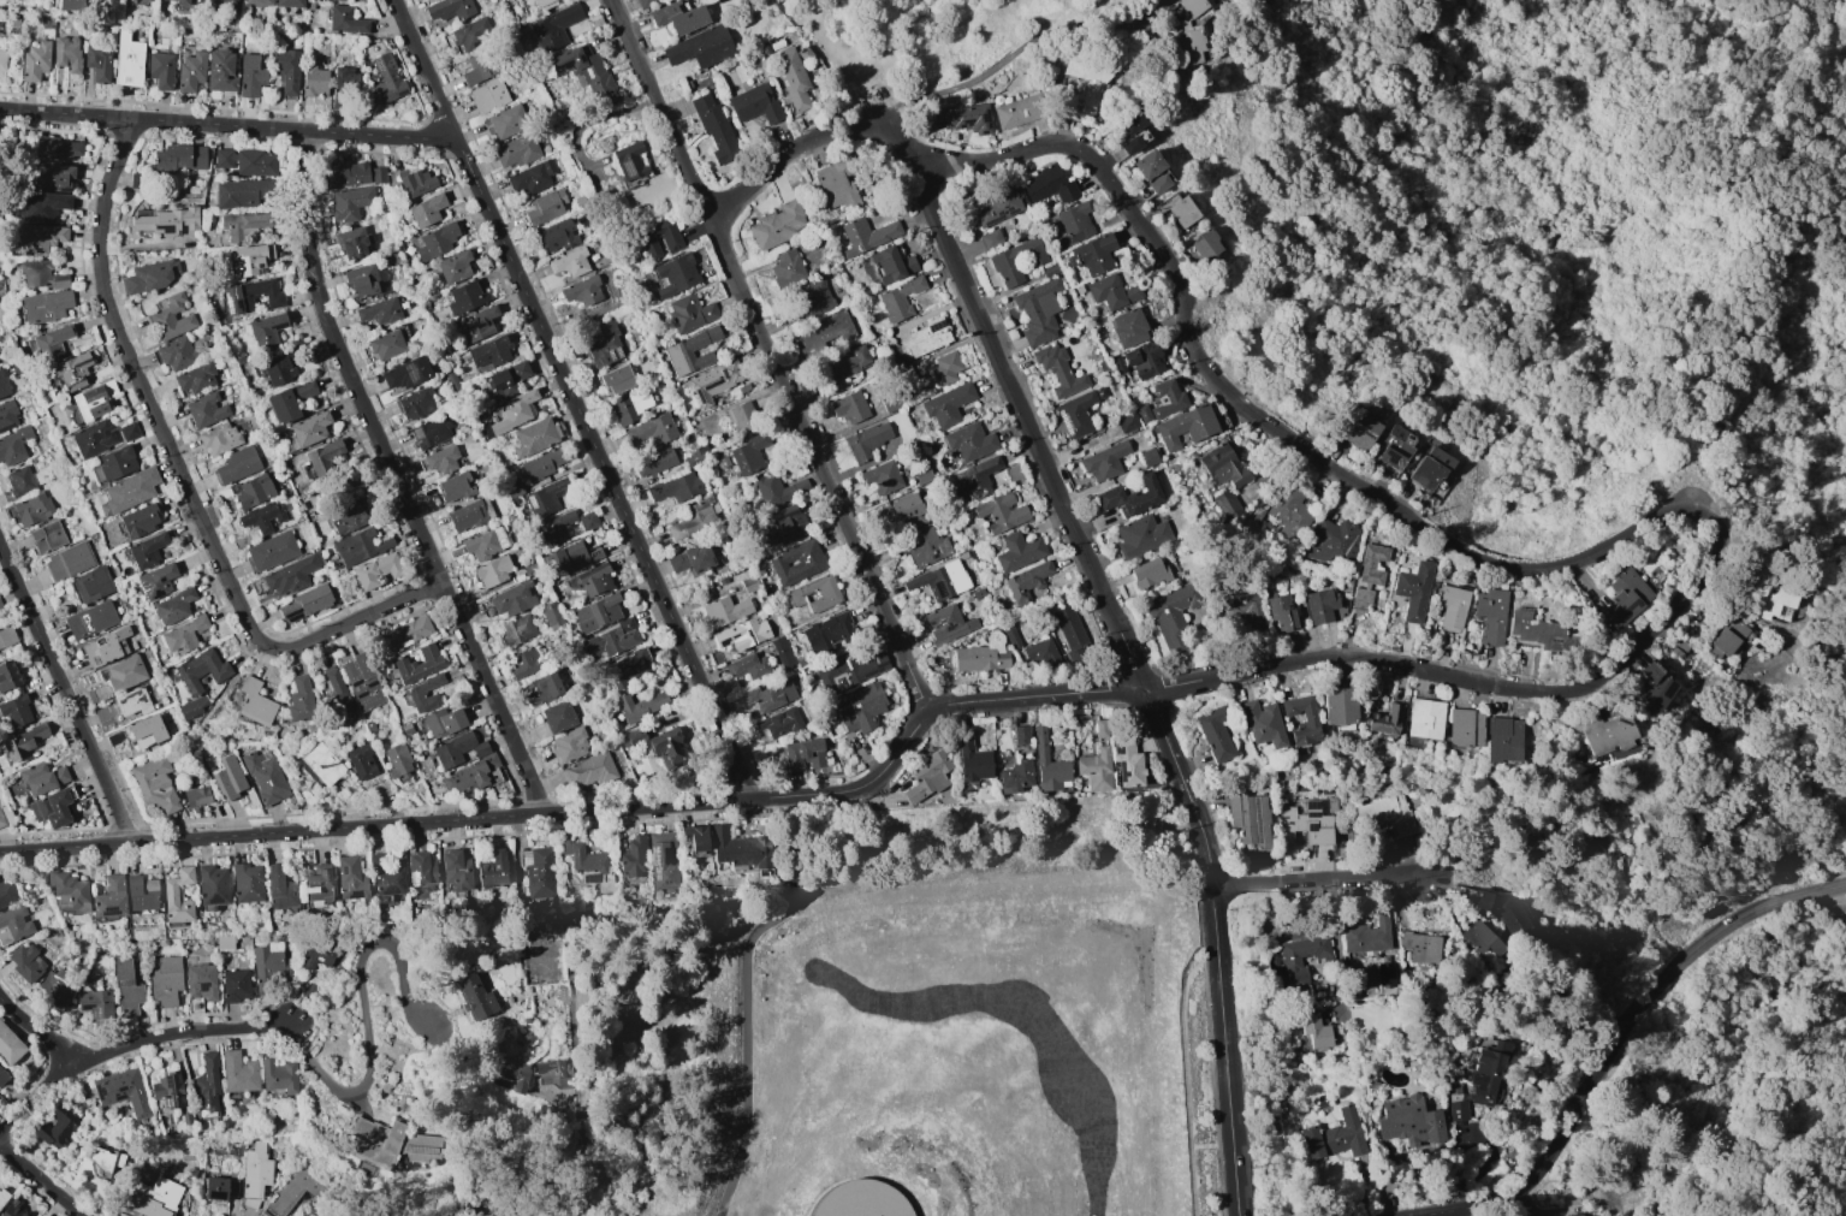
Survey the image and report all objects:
building: (180, 2)
building: (275, 2)
building: (530, 2)
building: (220, 4)
building: (71, 5)
building: (1181, 8)
building: (449, 10)
building: (681, 17)
building: (345, 20)
building: (552, 28)
building: (471, 34)
building: (1191, 46)
building: (701, 47)
building: (67, 54)
building: (2, 58)
building: (34, 60)
building: (127, 60)
road: (1003, 60)
building: (97, 61)
road: (838, 63)
road: (1756, 65)
road: (425, 69)
building: (476, 69)
building: (160, 70)
building: (190, 71)
building: (220, 71)
building: (584, 71)
building: (286, 73)
building: (250, 76)
building: (386, 78)
building: (791, 78)
building: (314, 81)
building: (1082, 88)
building: (487, 95)
building: (754, 103)
building: (1017, 111)
building: (966, 118)
building: (505, 121)
road: (222, 125)
building: (714, 127)
building: (1132, 132)
building: (59, 148)
building: (516, 150)
road: (788, 153)
building: (178, 158)
building: (244, 161)
building: (629, 164)
building: (1152, 171)
building: (354, 174)
building: (53, 177)
building: (530, 178)
building: (416, 182)
building: (836, 183)
building: (1047, 185)
building: (241, 192)
building: (349, 203)
building: (43, 206)
building: (545, 207)
building: (997, 207)
building: (426, 210)
building: (1182, 212)
building: (165, 221)
building: (1074, 223)
building: (243, 225)
building: (777, 225)
building: (866, 235)
building: (557, 236)
building: (40, 238)
building: (990, 238)
building: (660, 239)
building: (435, 241)
building: (351, 243)
building: (1204, 245)
building: (1092, 254)
building: (251, 257)
building: (1017, 261)
building: (570, 262)
building: (888, 265)
building: (453, 266)
building: (787, 268)
building: (41, 274)
building: (675, 275)
building: (150, 277)
building: (366, 280)
building: (582, 291)
building: (1111, 292)
building: (250, 296)
building: (464, 297)
building: (812, 298)
building: (898, 298)
building: (44, 306)
building: (378, 312)
building: (1037, 312)
building: (688, 313)
building: (170, 318)
building: (477, 324)
building: (1128, 327)
building: (266, 328)
building: (823, 334)
building: (922, 339)
building: (51, 342)
building: (385, 345)
building: (604, 345)
building: (690, 351)
building: (177, 354)
building: (488, 354)
road: (774, 356)
building: (843, 367)
building: (944, 367)
building: (274, 369)
building: (1058, 370)
building: (72, 372)
building: (404, 374)
building: (195, 379)
building: (506, 379)
building: (616, 379)
building: (713, 381)
building: (2, 385)
building: (108, 387)
building: (289, 401)
building: (1162, 401)
building: (90, 402)
building: (415, 403)
building: (946, 405)
road: (1020, 405)
building: (629, 407)
building: (849, 407)
building: (206, 409)
building: (514, 411)
building: (1075, 414)
building: (741, 415)
building: (7, 416)
road: (1264, 419)
building: (1185, 427)
building: (309, 428)
building: (1357, 428)
building: (129, 431)
building: (429, 432)
building: (649, 432)
building: (534, 437)
building: (218, 438)
building: (93, 439)
building: (866, 441)
building: (969, 441)
building: (13, 446)
building: (1395, 449)
building: (748, 455)
building: (322, 456)
building: (439, 461)
building: (655, 461)
building: (1103, 461)
building: (114, 463)
building: (237, 464)
building: (542, 464)
building: (1222, 464)
road: (601, 467)
building: (1429, 469)
building: (882, 477)
building: (977, 477)
road: (398, 479)
road: (184, 480)
building: (18, 481)
building: (453, 487)
building: (676, 487)
building: (129, 490)
building: (777, 490)
building: (251, 491)
building: (545, 497)
building: (1130, 497)
building: (1225, 505)
building: (32, 509)
building: (900, 511)
building: (1289, 512)
building: (1001, 514)
building: (346, 516)
building: (467, 516)
building: (262, 517)
building: (694, 518)
building: (587, 520)
building: (140, 521)
building: (788, 522)
building: (556, 528)
building: (47, 536)
building: (1140, 536)
building: (1331, 540)
building: (485, 544)
building: (360, 546)
building: (926, 547)
building: (1017, 550)
building: (146, 551)
building: (271, 551)
building: (569, 557)
building: (690, 558)
building: (69, 560)
building: (796, 562)
building: (376, 570)
building: (493, 571)
building: (1148, 573)
building: (291, 575)
building: (1367, 575)
building: (593, 580)
building: (940, 580)
building: (155, 581)
building: (1026, 582)
building: (91, 585)
building: (1413, 591)
building: (815, 593)
building: (511, 599)
building: (1624, 599)
building: (1776, 603)
building: (303, 604)
building: (1319, 605)
building: (1449, 605)
building: (0, 606)
building: (173, 606)
road: (1672, 607)
building: (725, 611)
building: (596, 612)
building: (1245, 612)
building: (1281, 612)
building: (1488, 615)
building: (1173, 616)
building: (90, 619)
building: (946, 624)
building: (518, 629)
building: (1069, 631)
building: (1536, 631)
building: (827, 633)
building: (403, 634)
building: (742, 634)
building: (182, 635)
building: (6, 637)
building: (611, 640)
building: (1721, 643)
building: (106, 647)
building: (1678, 648)
building: (782, 653)
building: (1040, 654)
building: (981, 656)
road: (1360, 659)
building: (523, 663)
building: (419, 664)
building: (748, 666)
building: (628, 668)
building: (201, 670)
building: (848, 671)
building: (123, 672)
building: (7, 676)
road: (239, 682)
building: (362, 682)
building: (1654, 687)
building: (541, 688)
road: (66, 689)
building: (334, 692)
building: (425, 693)
building: (770, 695)
road: (1034, 696)
building: (299, 699)
building: (131, 702)
building: (254, 702)
building: (640, 706)
building: (1339, 706)
building: (194, 707)
building: (861, 708)
building: (14, 711)
building: (558, 716)
building: (1424, 718)
building: (1384, 720)
building: (443, 722)
building: (1310, 722)
building: (1263, 723)
building: (779, 724)
building: (1464, 728)
building: (146, 731)
building: (1215, 732)
building: (1605, 732)
building: (1020, 735)
road: (1165, 739)
building: (23, 741)
building: (1502, 741)
building: (568, 746)
building: (658, 746)
building: (456, 749)
building: (803, 754)
building: (397, 759)
building: (361, 761)
building: (321, 764)
building: (972, 764)
building: (1047, 764)
building: (1128, 764)
building: (1094, 769)
building: (589, 771)
building: (227, 776)
building: (471, 776)
building: (926, 776)
building: (41, 777)
building: (1015, 777)
building: (265, 778)
building: (154, 784)
road: (857, 791)
building: (196, 796)
building: (51, 808)
building: (1387, 814)
building: (1248, 820)
road: (443, 821)
building: (1305, 821)
building: (695, 837)
road: (1156, 840)
road: (66, 848)
building: (738, 848)
building: (633, 856)
building: (661, 861)
building: (588, 864)
building: (420, 868)
building: (493, 870)
building: (455, 871)
building: (539, 872)
building: (386, 873)
building: (350, 879)
road: (1324, 879)
building: (247, 883)
building: (317, 884)
building: (212, 885)
building: (280, 888)
building: (69, 891)
building: (7, 892)
building: (141, 894)
building: (177, 896)
building: (109, 897)
building: (1474, 898)
building: (1516, 921)
building: (13, 924)
building: (1367, 935)
building: (1482, 941)
building: (1420, 947)
building: (316, 955)
building: (1300, 961)
building: (26, 962)
building: (268, 968)
building: (1385, 974)
building: (165, 980)
building: (200, 985)
building: (235, 985)
building: (55, 989)
building: (126, 989)
building: (475, 997)
road: (1223, 998)
building: (95, 1003)
road: (364, 1013)
road: (34, 1026)
building: (1314, 1031)
road: (1624, 1031)
road: (121, 1044)
building: (8, 1046)
building: (511, 1063)
road: (1691, 1066)
building: (553, 1067)
building: (237, 1072)
building: (1485, 1073)
building: (278, 1075)
building: (2, 1076)
building: (207, 1087)
building: (121, 1091)
building: (167, 1092)
building: (1458, 1110)
building: (1408, 1121)
building: (54, 1129)
building: (1336, 1137)
building: (375, 1141)
building: (419, 1146)
building: (105, 1162)
building: (255, 1174)
road: (43, 1181)
building: (215, 1188)
building: (296, 1190)
building: (2, 1197)
building: (153, 1198)
building: (861, 1199)
storage tank: (861, 1199)
building: (13, 1210)
building: (1573, 1215)

